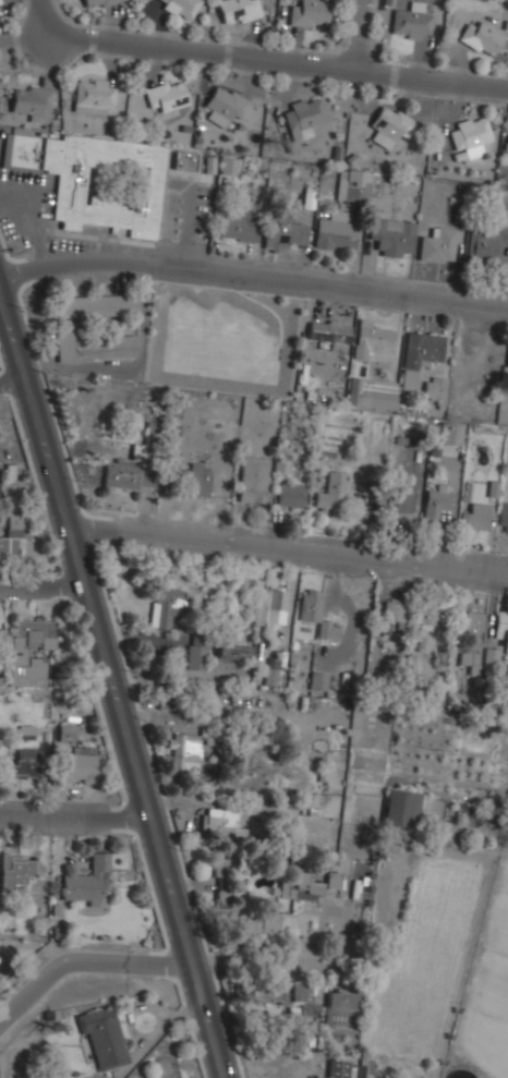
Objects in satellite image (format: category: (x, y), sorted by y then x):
building: (95, 2)
building: (1, 7)
building: (182, 8)
building: (238, 10)
building: (310, 12)
building: (412, 20)
road: (358, 35)
building: (482, 36)
road: (262, 59)
building: (94, 94)
building: (167, 95)
building: (32, 101)
building: (225, 104)
building: (304, 114)
building: (390, 125)
building: (471, 134)
building: (507, 141)
building: (184, 159)
building: (229, 165)
building: (95, 178)
building: (354, 185)
building: (239, 226)
building: (335, 230)
building: (287, 233)
building: (392, 235)
building: (487, 243)
building: (437, 244)
road: (252, 272)
building: (96, 305)
building: (328, 331)
building: (374, 343)
building: (93, 346)
building: (424, 349)
building: (507, 361)
road: (12, 378)
building: (409, 379)
building: (437, 390)
building: (374, 400)
building: (450, 433)
building: (282, 462)
building: (135, 463)
building: (199, 479)
building: (254, 479)
building: (332, 493)
building: (291, 494)
building: (403, 497)
building: (437, 497)
building: (475, 516)
building: (504, 518)
building: (12, 534)
road: (288, 550)
road: (43, 584)
building: (273, 605)
building: (166, 608)
building: (392, 611)
building: (317, 613)
building: (426, 618)
building: (473, 618)
building: (505, 631)
building: (29, 649)
building: (235, 651)
building: (197, 654)
building: (471, 656)
building: (492, 657)
building: (271, 670)
building: (318, 680)
road: (113, 685)
building: (26, 731)
building: (66, 732)
building: (184, 750)
building: (26, 762)
building: (80, 764)
building: (312, 803)
building: (401, 808)
road: (75, 813)
building: (221, 822)
building: (16, 868)
building: (86, 881)
building: (223, 882)
building: (318, 883)
building: (256, 921)
road: (84, 960)
building: (269, 991)
building: (306, 993)
building: (341, 1003)
building: (104, 1035)
building: (339, 1068)
building: (364, 1069)

